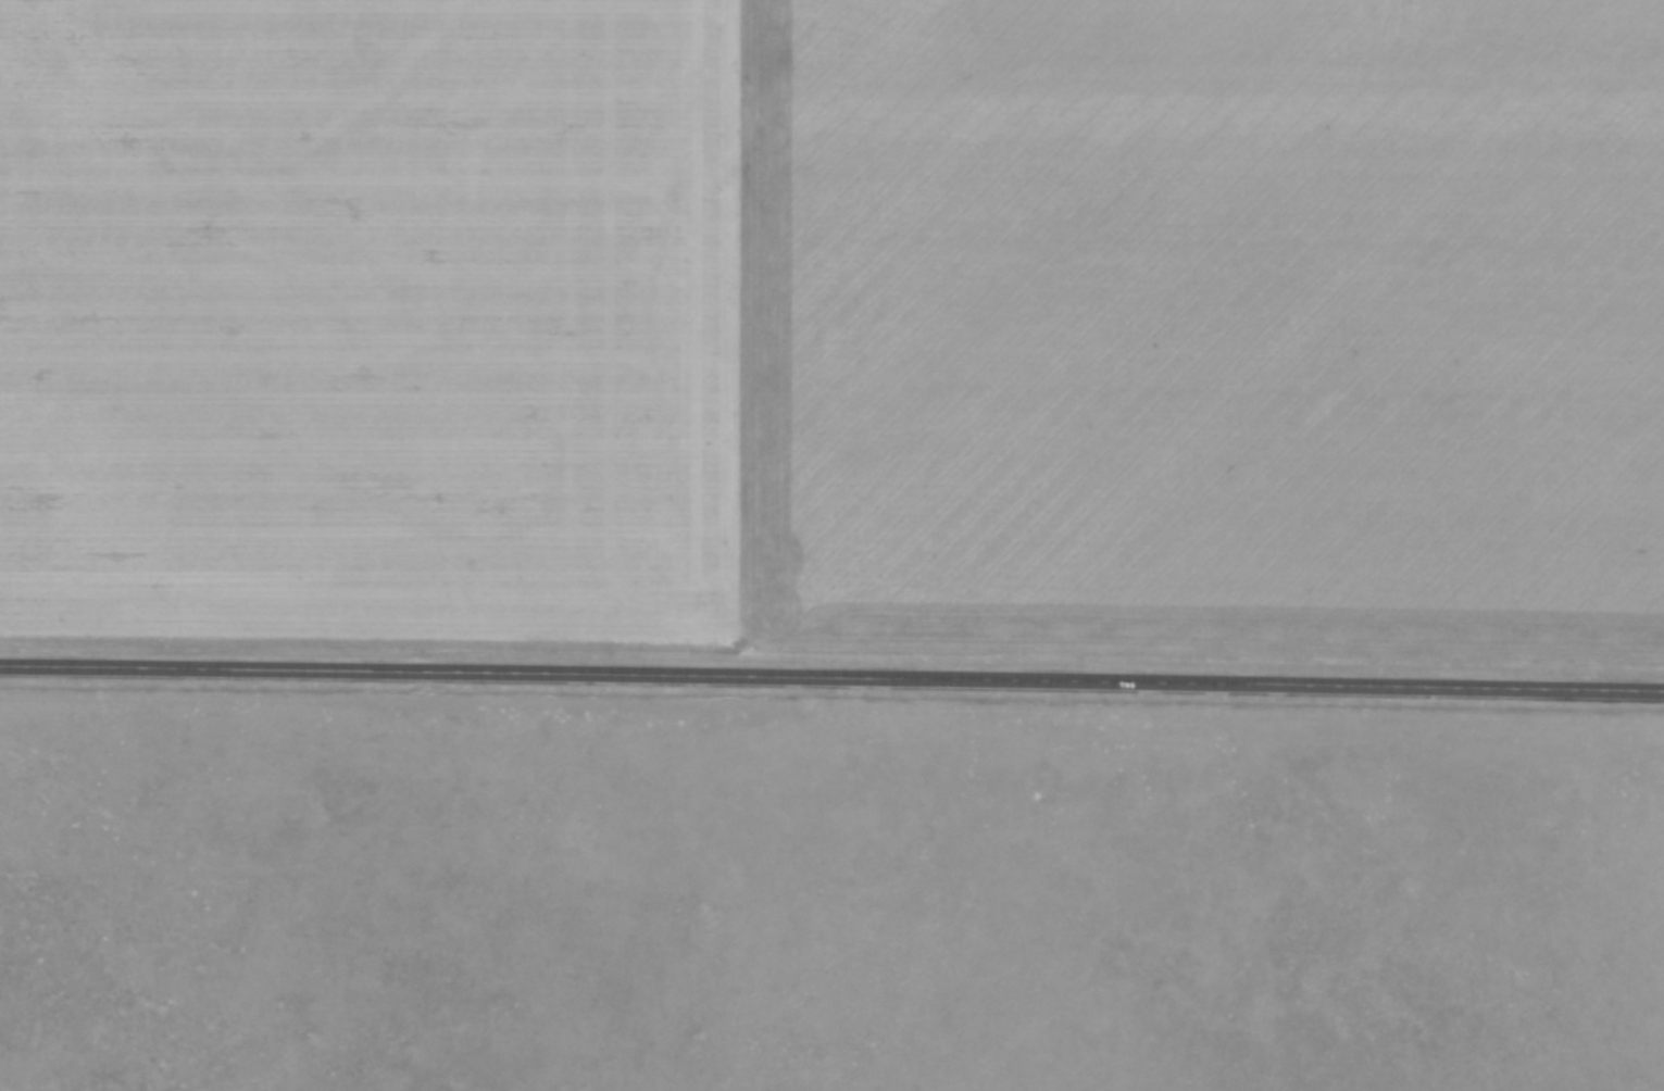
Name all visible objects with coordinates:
crop: (837, 327)
road: (831, 676)

